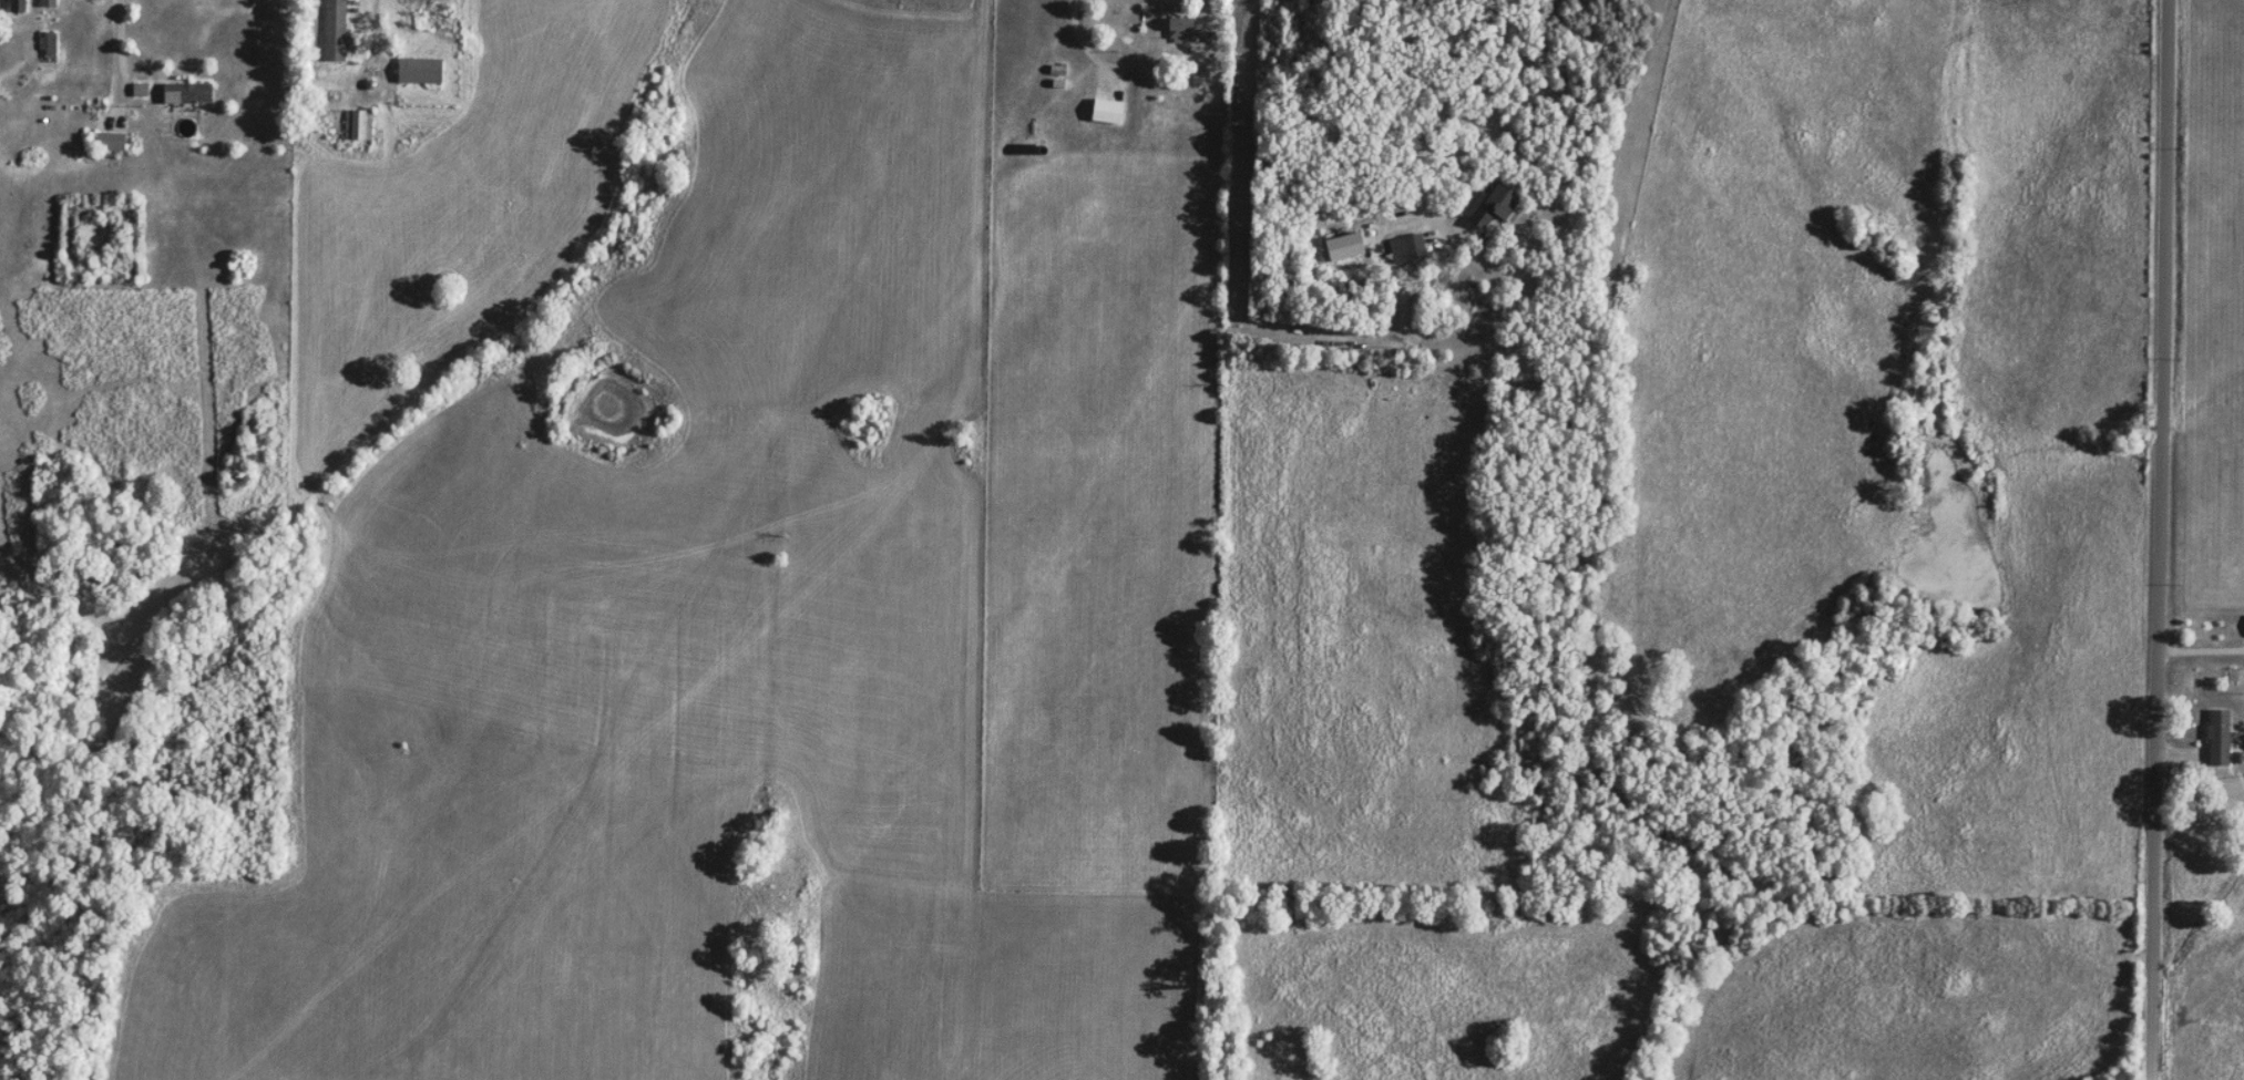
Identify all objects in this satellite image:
building: (424, 1)
building: (47, 2)
building: (18, 6)
building: (1185, 27)
building: (336, 30)
road: (380, 43)
building: (45, 45)
road: (122, 61)
building: (420, 69)
road: (1105, 69)
building: (187, 92)
building: (1098, 109)
building: (358, 123)
building: (111, 140)
building: (1497, 203)
building: (1407, 247)
road: (1500, 268)
road: (2161, 539)
road: (2201, 646)
building: (2220, 736)

